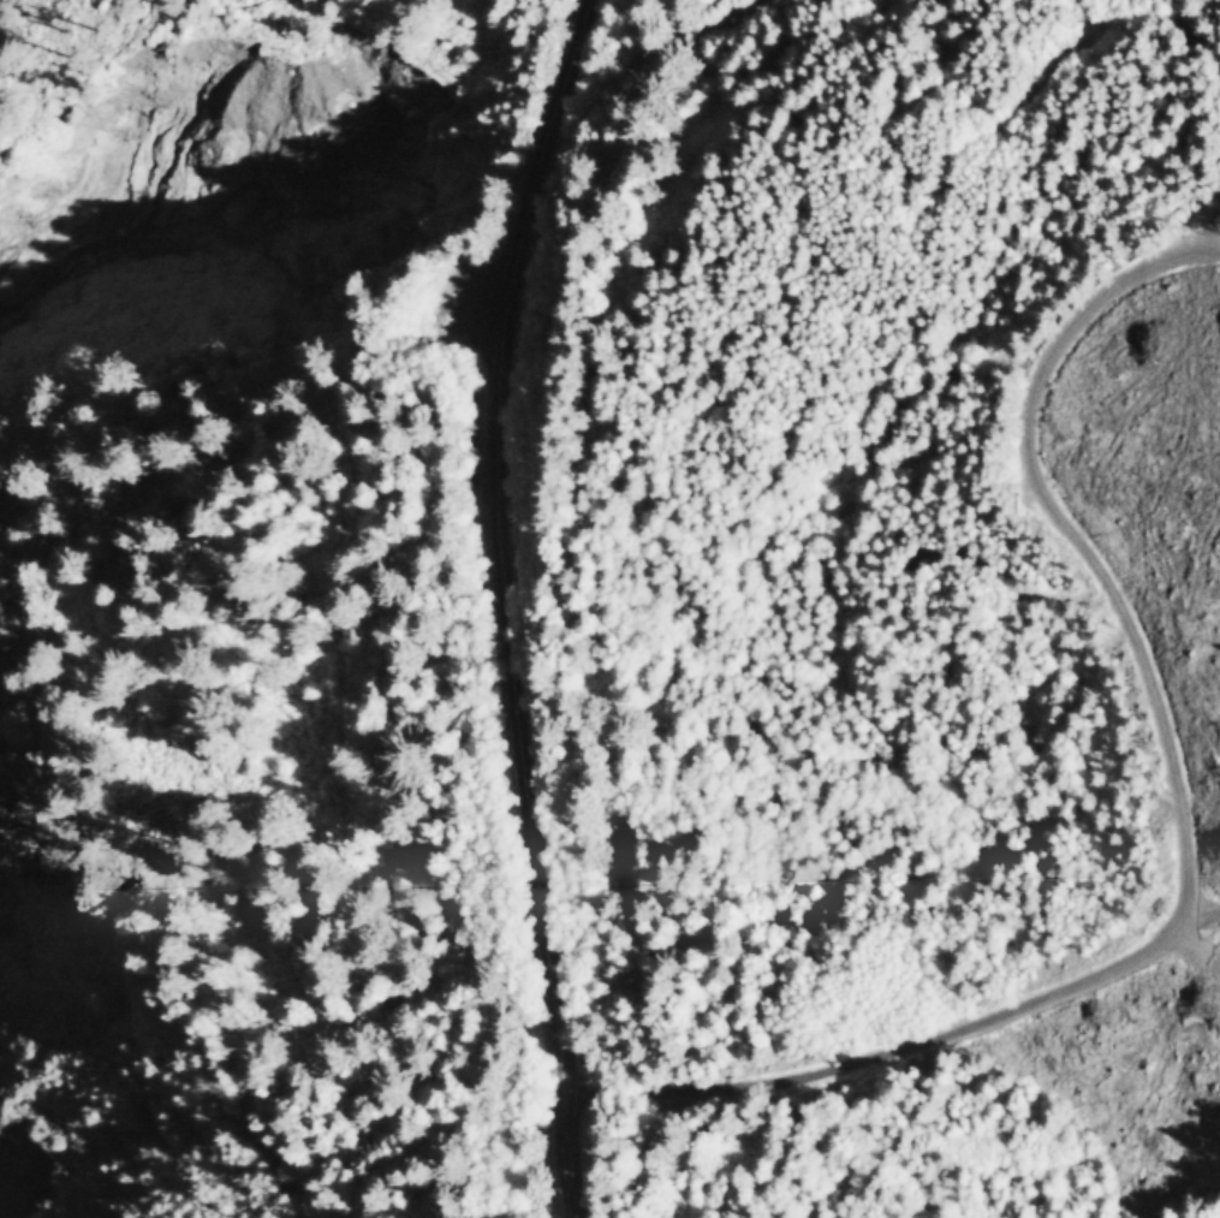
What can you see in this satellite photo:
road: (228, 0)
road: (1107, 24)
road: (1206, 224)
road: (508, 604)
road: (1201, 929)
road: (1180, 935)

